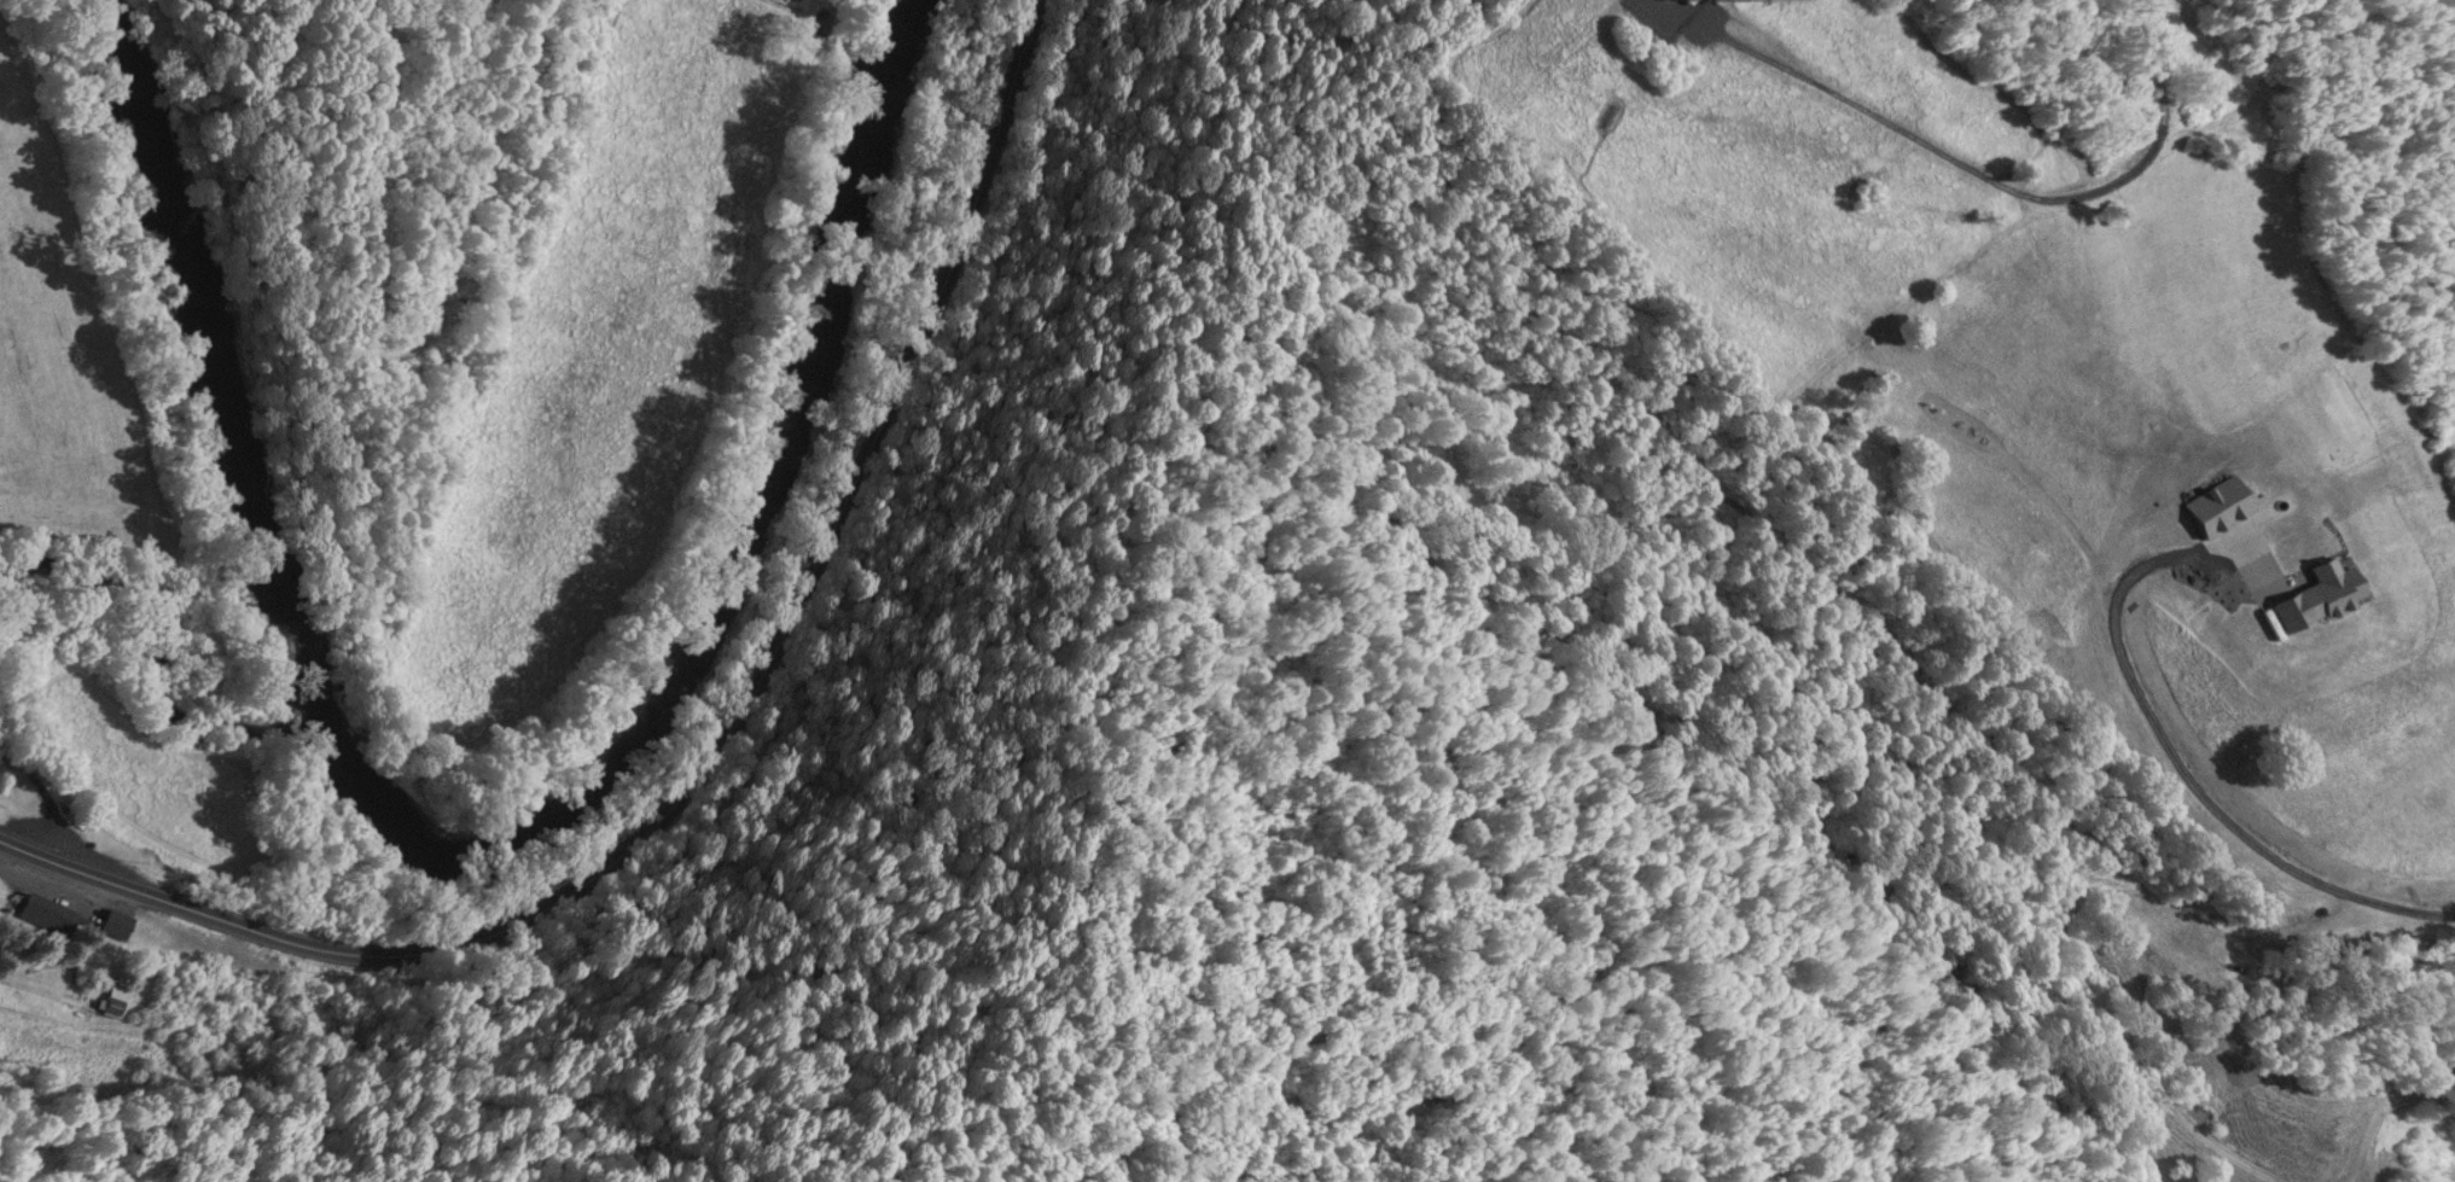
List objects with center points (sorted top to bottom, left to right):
road: (709, 739)
river: (485, 838)

